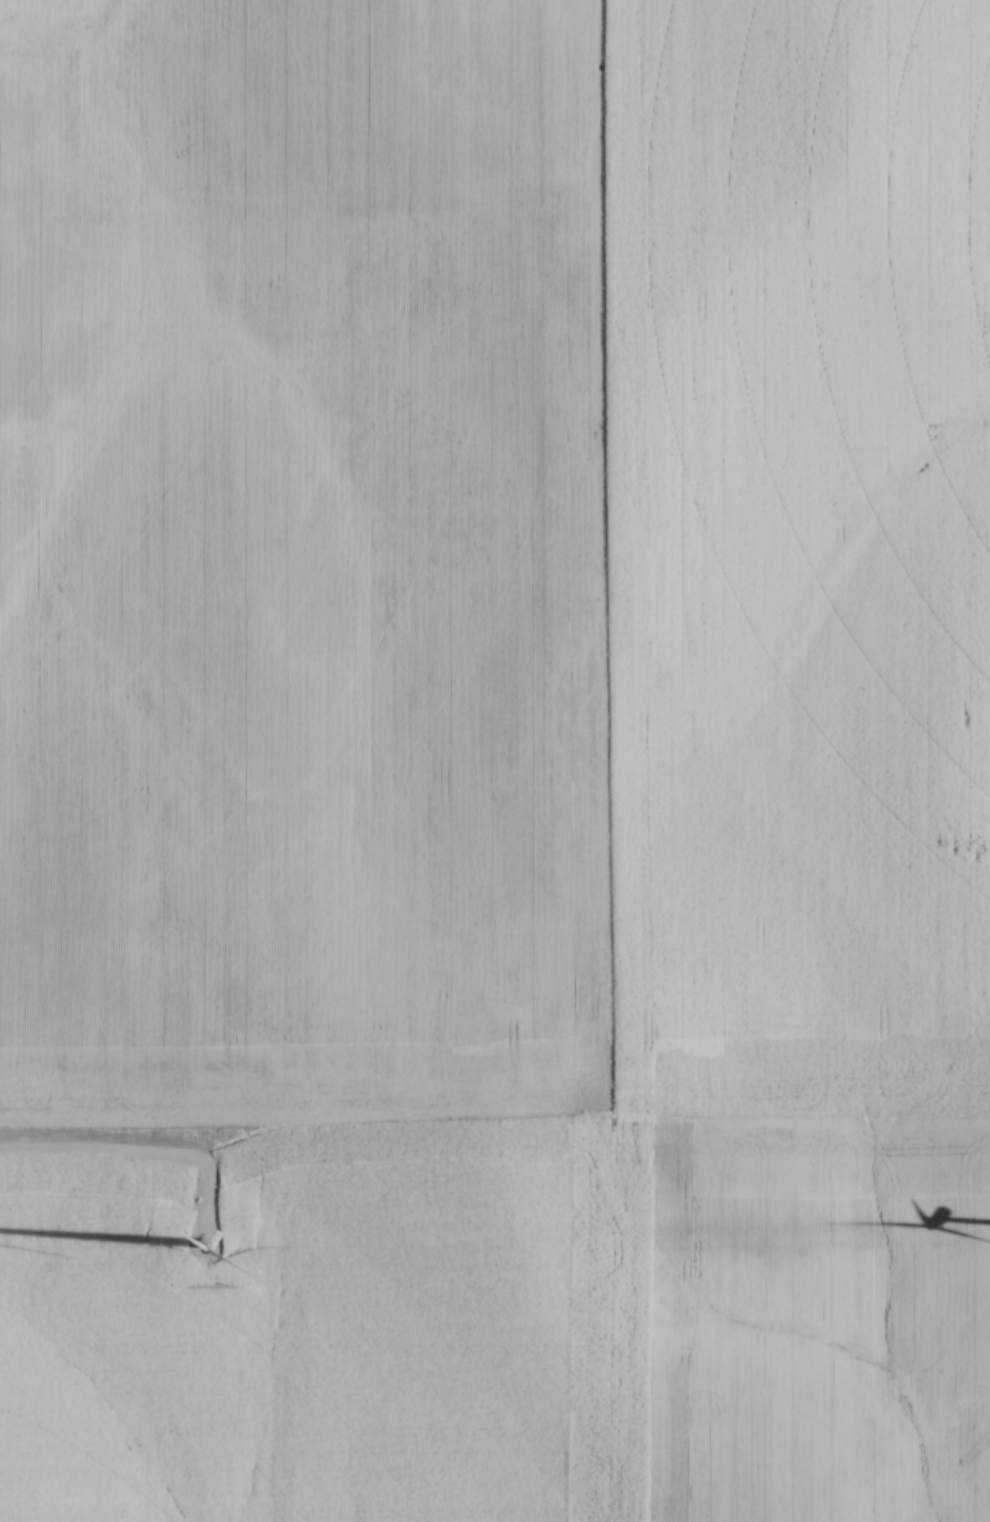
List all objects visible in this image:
building: (967, 838)
building: (966, 1008)
road: (139, 1148)
wind turbine: (203, 1241)

